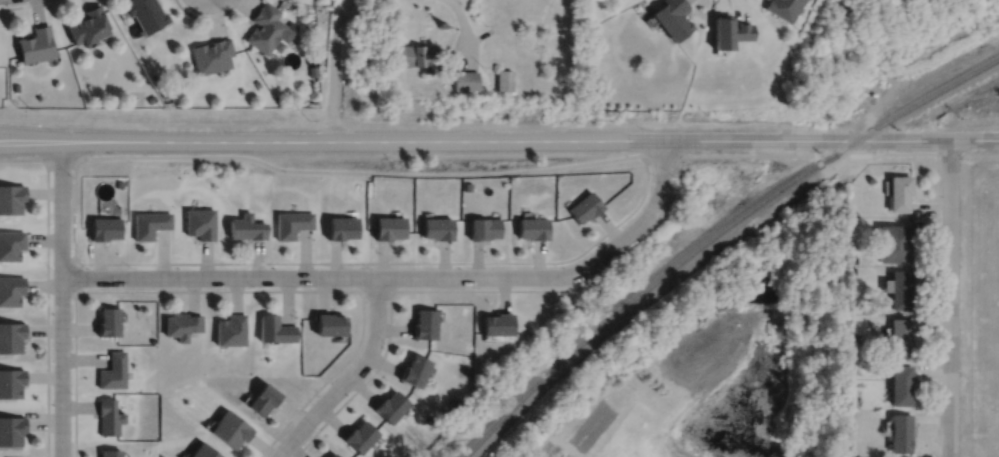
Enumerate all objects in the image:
road: (22, 4)
building: (783, 8)
building: (147, 13)
road: (205, 17)
building: (672, 18)
building: (89, 25)
building: (268, 28)
road: (463, 29)
building: (728, 30)
building: (594, 36)
building: (36, 44)
building: (212, 55)
building: (416, 55)
railway: (990, 62)
road: (333, 69)
building: (313, 70)
building: (504, 79)
building: (465, 80)
building: (258, 84)
railway: (897, 114)
road: (499, 139)
road: (22, 157)
road: (52, 157)
road: (445, 173)
building: (119, 183)
building: (467, 185)
building: (898, 192)
building: (11, 195)
building: (585, 207)
building: (856, 213)
building: (200, 223)
building: (292, 223)
building: (149, 224)
building: (246, 227)
building: (342, 228)
building: (390, 228)
building: (438, 228)
building: (484, 228)
building: (532, 228)
building: (104, 229)
building: (11, 241)
building: (894, 243)
building: (855, 259)
road: (337, 262)
road: (937, 267)
building: (854, 269)
road: (74, 275)
road: (403, 275)
building: (899, 285)
building: (11, 287)
road: (376, 289)
road: (237, 290)
road: (390, 293)
road: (948, 297)
road: (61, 298)
railway: (630, 299)
road: (47, 314)
building: (106, 319)
building: (328, 321)
building: (424, 321)
building: (497, 321)
building: (180, 322)
building: (229, 327)
building: (273, 327)
building: (11, 333)
building: (900, 334)
building: (858, 336)
building: (883, 367)
building: (111, 368)
building: (414, 368)
road: (350, 376)
building: (11, 379)
building: (900, 383)
building: (261, 396)
building: (389, 404)
building: (107, 415)
building: (11, 427)
building: (228, 427)
building: (900, 431)
building: (358, 434)
building: (202, 450)
building: (108, 452)
building: (331, 454)

